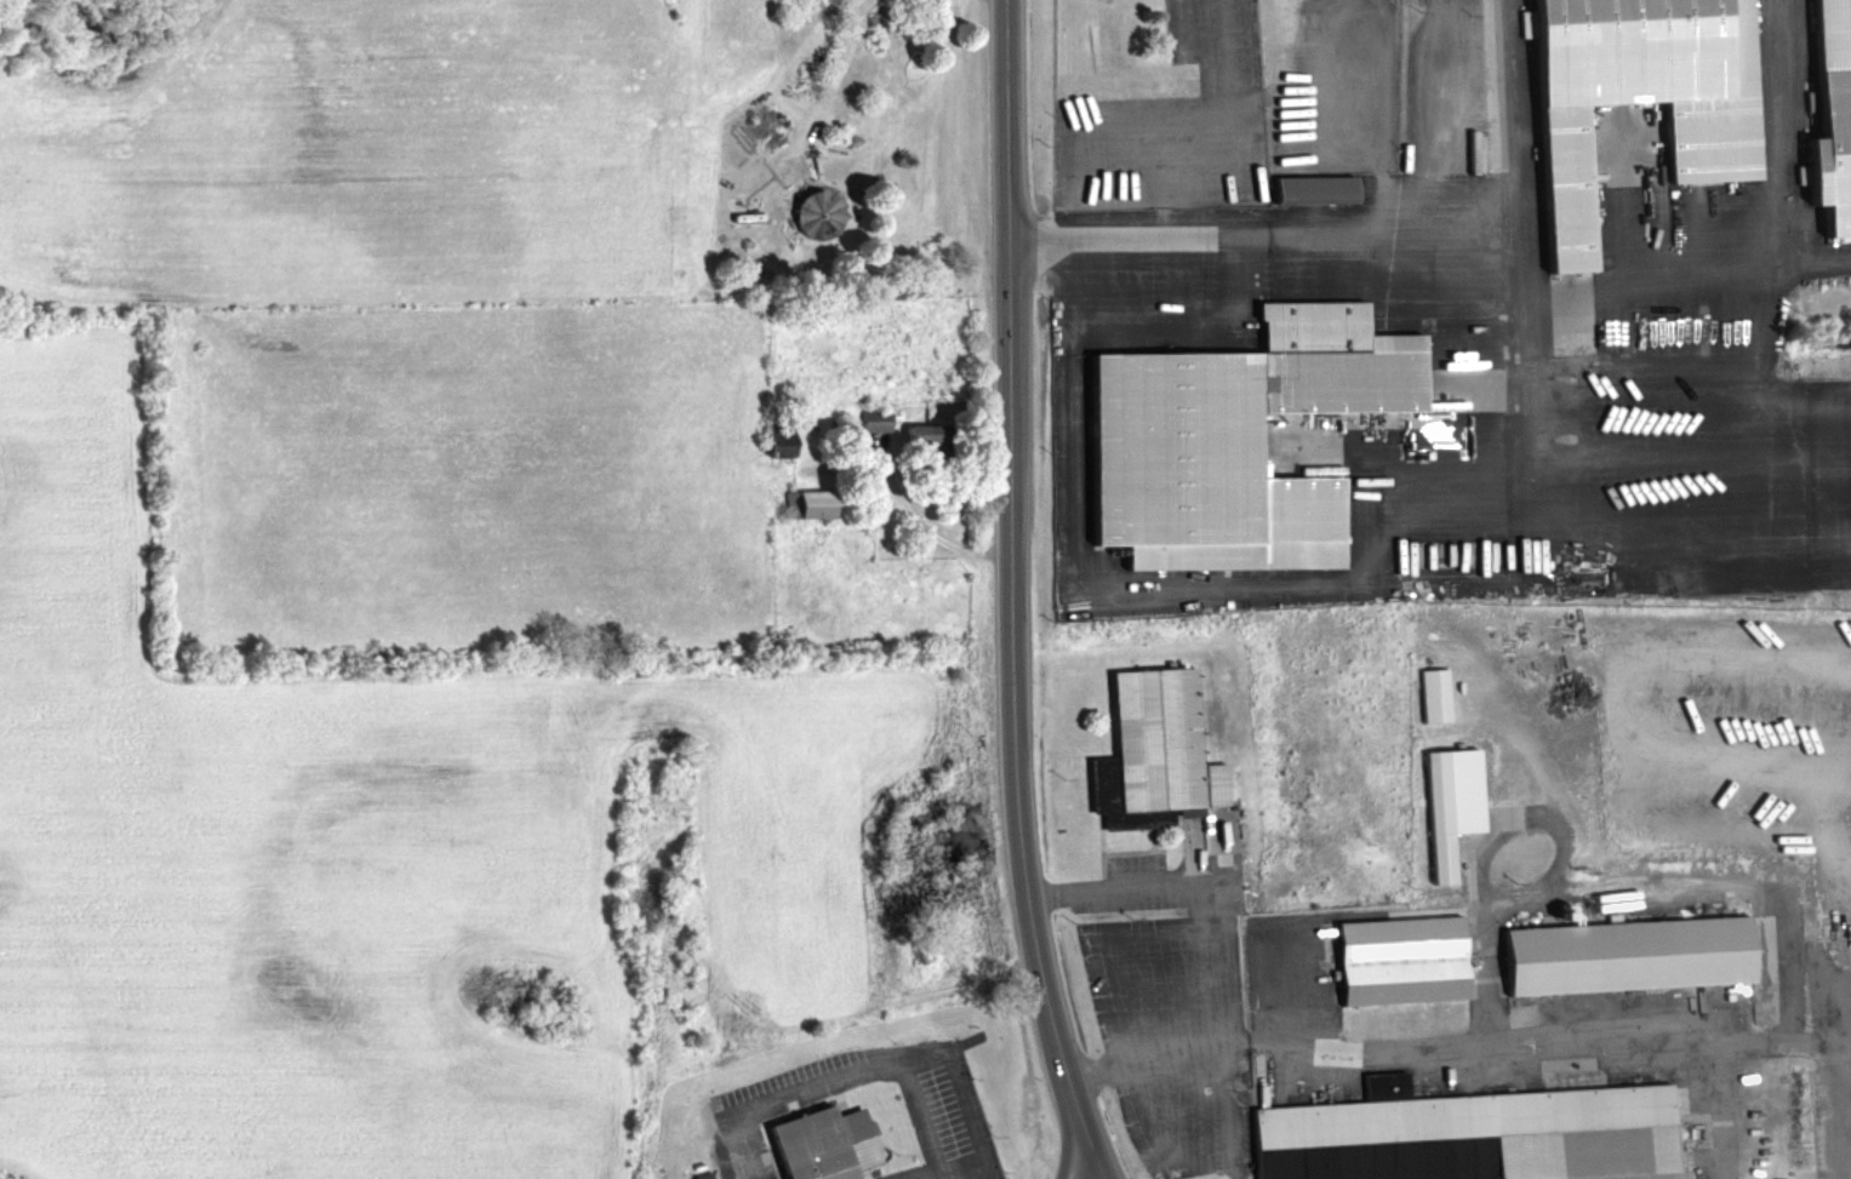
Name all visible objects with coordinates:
road: (845, 70)
building: (1640, 93)
building: (1832, 115)
building: (1307, 187)
building: (811, 213)
road: (1263, 233)
road: (1755, 246)
road: (1800, 262)
road: (1155, 319)
road: (1527, 395)
building: (867, 420)
building: (909, 435)
building: (1239, 439)
building: (795, 504)
road: (927, 528)
road: (1188, 588)
road: (1007, 595)
building: (1433, 693)
building: (1153, 751)
building: (1450, 802)
building: (1627, 954)
building: (1399, 958)
road: (1456, 1048)
road: (878, 1061)
road: (1226, 1089)
parking lot: (739, 1110)
road: (1720, 1110)
building: (1469, 1134)
building: (823, 1144)
road: (1840, 1167)
road: (1087, 1172)
building: (699, 1173)

